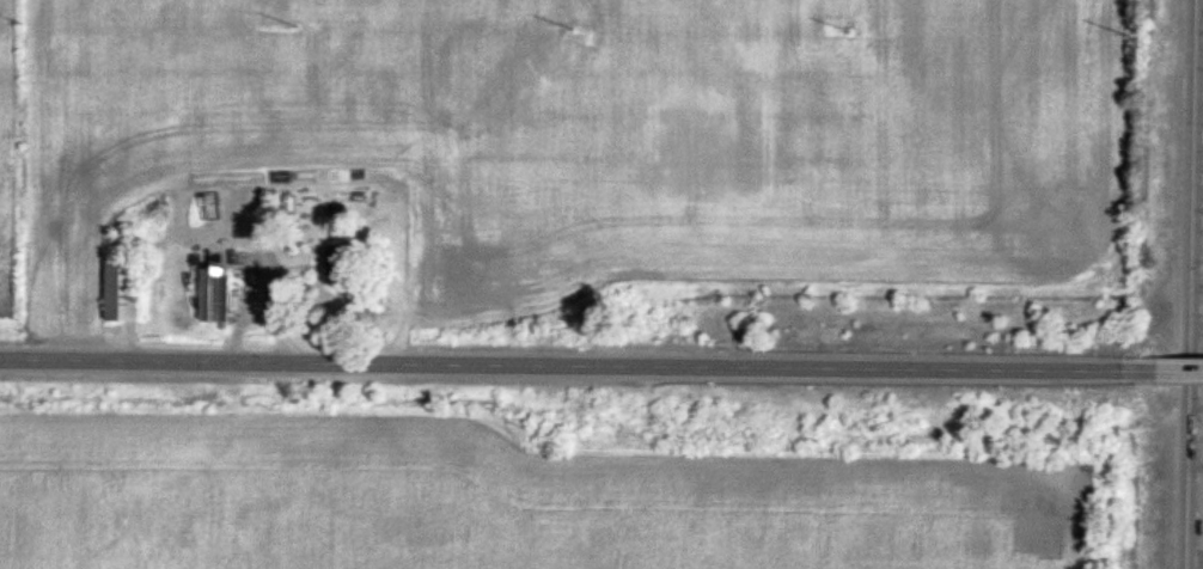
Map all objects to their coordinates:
building: (337, 264)
road: (1197, 283)
building: (121, 289)
building: (215, 293)
road: (575, 362)
road: (1177, 368)

